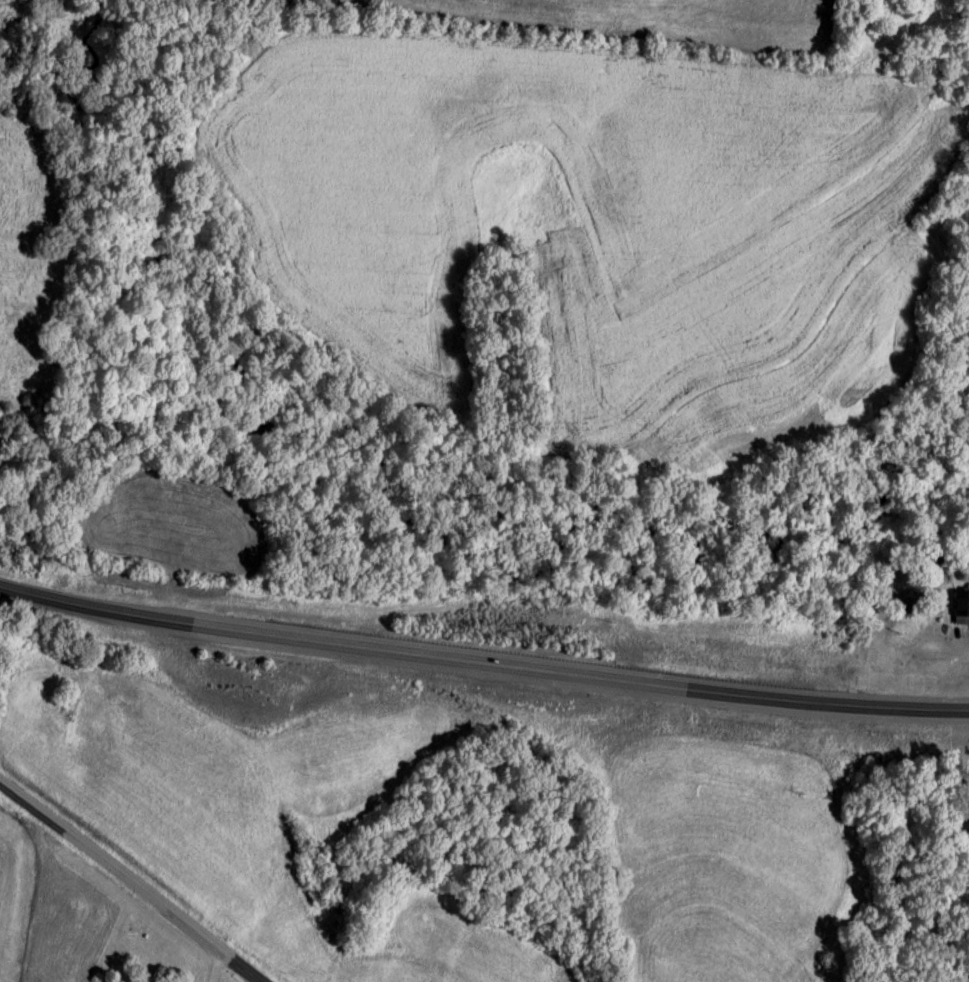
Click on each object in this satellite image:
building: (940, 565)
building: (899, 603)
building: (961, 608)
road: (482, 651)
road: (129, 882)

